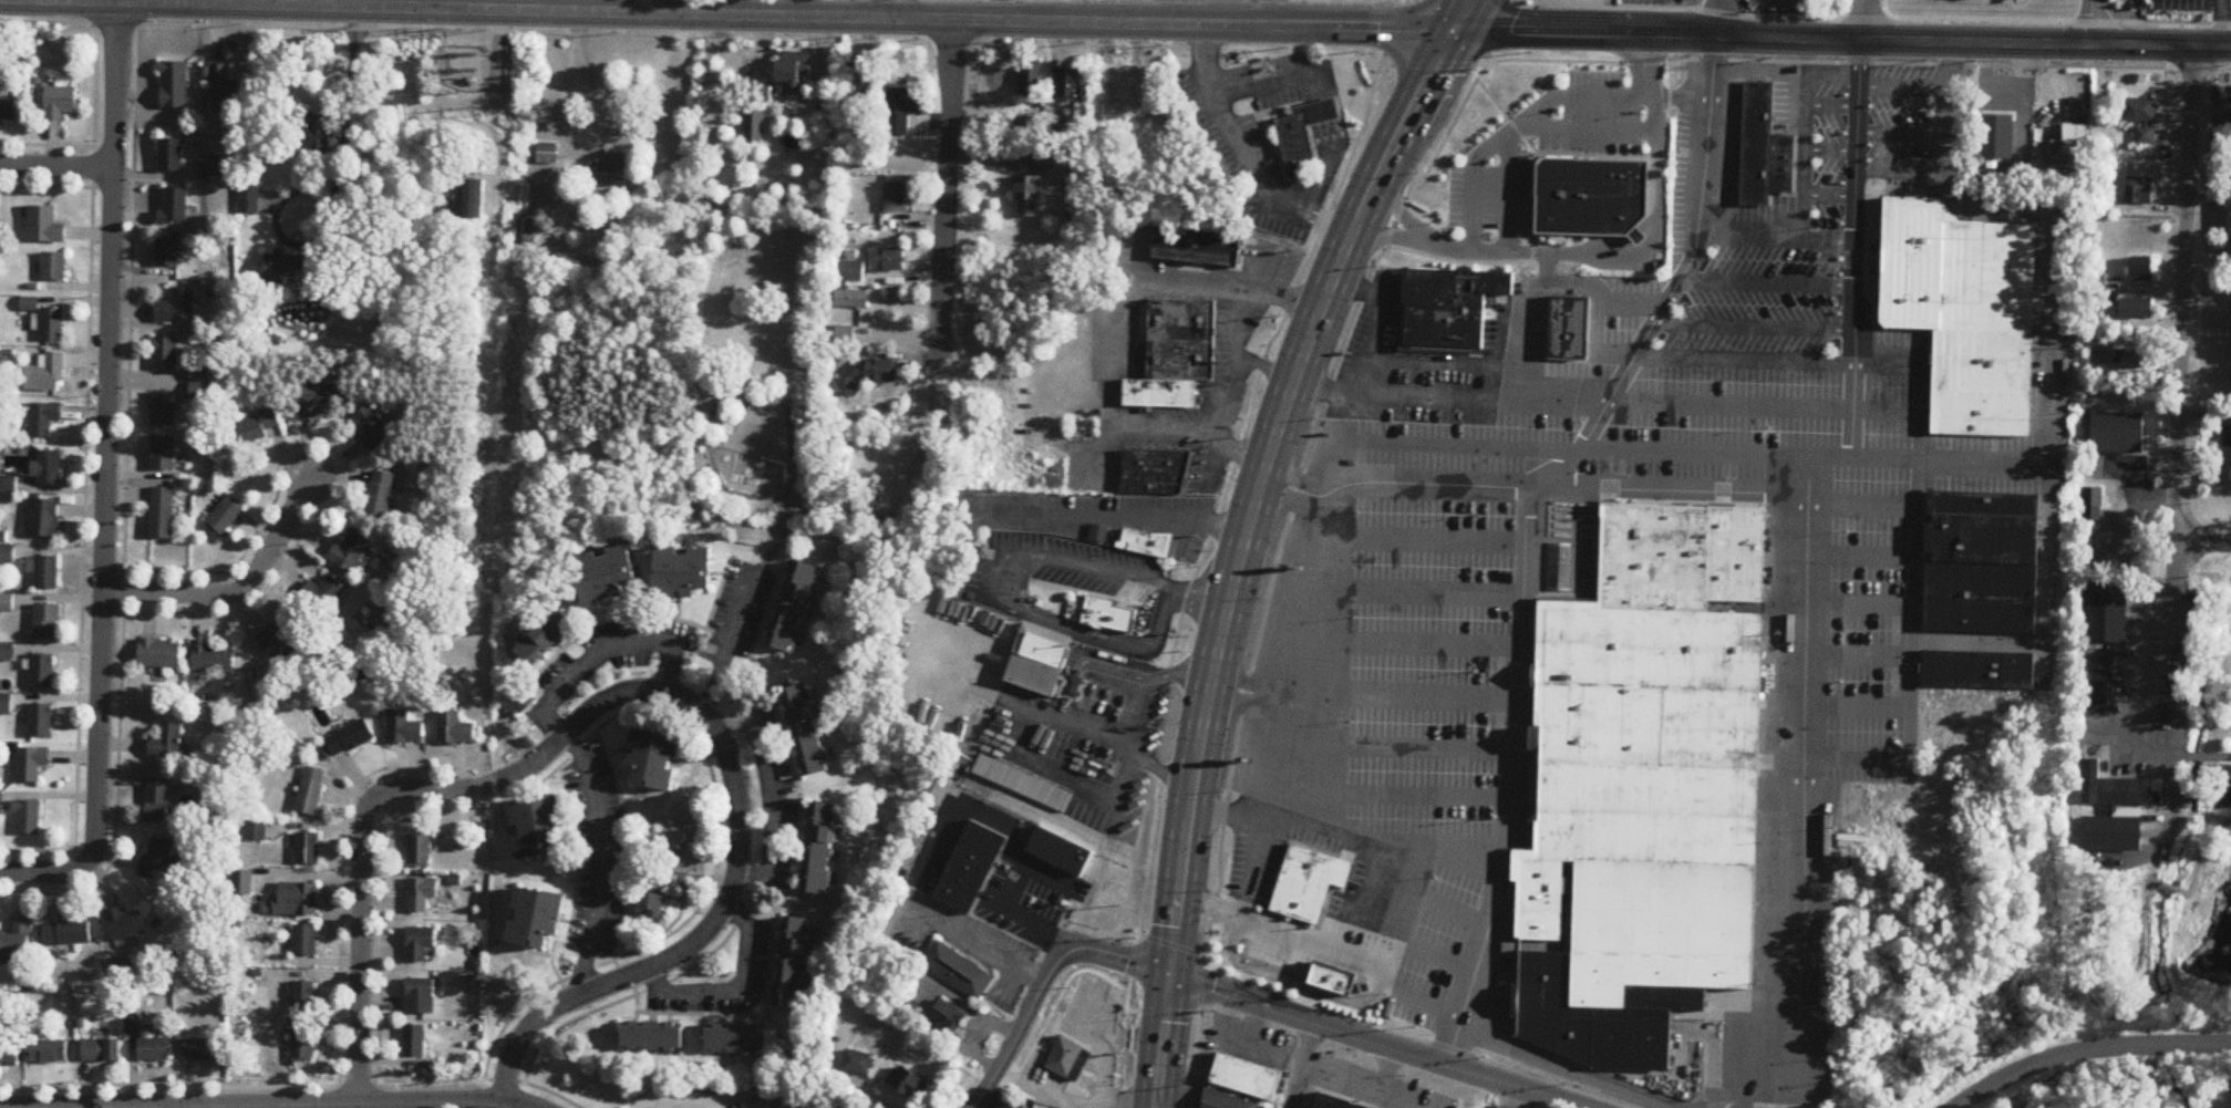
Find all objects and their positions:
road: (435, 4)
road: (891, 9)
road: (1902, 15)
road: (1716, 17)
road: (1862, 19)
road: (1115, 21)
road: (2090, 21)
road: (2221, 22)
traffic signals: (1450, 30)
road: (502, 33)
road: (1803, 60)
road: (1745, 69)
building: (794, 70)
road: (1785, 70)
power substation: (472, 71)
road: (1277, 79)
building: (858, 81)
road: (1645, 81)
building: (1032, 83)
building: (1068, 83)
road: (349, 84)
road: (1902, 84)
building: (175, 85)
building: (226, 85)
road: (1797, 97)
building: (61, 102)
road: (1831, 104)
road: (1539, 105)
building: (9, 108)
building: (906, 108)
building: (1319, 110)
building: (2139, 111)
road: (1506, 117)
building: (755, 120)
building: (1026, 128)
road: (1588, 128)
road: (1901, 133)
building: (2146, 136)
building: (319, 137)
road: (600, 138)
building: (1756, 139)
building: (1293, 141)
road: (55, 146)
road: (1830, 148)
building: (2068, 148)
road: (1243, 152)
building: (547, 155)
building: (171, 156)
building: (1780, 160)
building: (1037, 163)
road: (55, 166)
building: (213, 166)
road: (1533, 168)
building: (610, 172)
road: (1900, 173)
road: (1913, 183)
road: (55, 188)
road: (1876, 190)
road: (1505, 191)
road: (1901, 191)
building: (2139, 191)
building: (1917, 194)
road: (1917, 194)
building: (1590, 195)
road: (1829, 195)
building: (1027, 197)
building: (249, 198)
building: (895, 198)
building: (472, 199)
road: (1741, 200)
road: (941, 203)
road: (1803, 203)
building: (175, 207)
road: (1646, 219)
road: (1408, 221)
building: (44, 226)
road: (1650, 230)
building: (531, 231)
road: (1634, 232)
building: (1636, 235)
road: (1402, 237)
road: (1827, 238)
road: (1641, 239)
building: (1195, 244)
road: (1652, 244)
road: (1852, 247)
road: (1618, 248)
road: (1478, 249)
road: (1524, 250)
road: (1140, 251)
building: (167, 252)
road: (1629, 252)
road: (1865, 256)
road: (1871, 258)
building: (1879, 258)
road: (1879, 259)
building: (887, 260)
building: (54, 267)
building: (281, 267)
road: (1543, 267)
building: (1953, 268)
road: (2208, 268)
building: (2141, 269)
building: (857, 272)
building: (1458, 279)
road: (1559, 282)
road: (1765, 282)
building: (1443, 297)
building: (853, 300)
road: (1630, 302)
road: (1877, 306)
building: (176, 307)
road: (1115, 308)
building: (1180, 308)
building: (2138, 309)
road: (2181, 310)
building: (1443, 314)
road: (2053, 314)
road: (1374, 320)
building: (52, 324)
building: (1567, 325)
road: (128, 327)
road: (1753, 327)
building: (1180, 328)
road: (1273, 333)
building: (1442, 334)
building: (845, 335)
building: (1180, 348)
building: (165, 354)
road: (1566, 358)
road: (1744, 358)
road: (1557, 359)
building: (2136, 360)
road: (1446, 362)
road: (1262, 364)
building: (1178, 367)
building: (882, 372)
building: (47, 375)
road: (1543, 379)
building: (1983, 381)
building: (1931, 382)
road: (1931, 382)
building: (846, 389)
building: (204, 390)
building: (1158, 391)
road: (1228, 392)
road: (1448, 394)
building: (318, 400)
road: (86, 402)
road: (1763, 405)
building: (164, 410)
road: (742, 418)
building: (43, 420)
building: (257, 426)
building: (372, 427)
road: (106, 434)
building: (2119, 434)
building: (2228, 436)
road: (1930, 447)
road: (1242, 451)
building: (163, 454)
road: (1812, 454)
road: (1302, 456)
building: (1154, 460)
road: (343, 465)
building: (49, 469)
road: (1262, 469)
road: (1291, 477)
road: (1436, 477)
building: (1150, 481)
building: (382, 496)
road: (1285, 497)
road: (1330, 500)
road: (1870, 505)
building: (2093, 505)
building: (871, 508)
building: (162, 514)
building: (224, 516)
road: (1102, 516)
road: (1346, 518)
building: (43, 519)
road: (1524, 521)
building: (1098, 531)
road: (1435, 538)
road: (782, 540)
building: (1145, 541)
road: (2227, 546)
building: (353, 550)
road: (1868, 556)
building: (1981, 561)
road: (1913, 571)
building: (683, 572)
building: (48, 573)
building: (608, 576)
road: (235, 588)
road: (1433, 589)
road: (1197, 591)
building: (324, 594)
road: (719, 594)
road: (991, 600)
road: (1031, 603)
road: (1867, 604)
building: (794, 608)
building: (1103, 611)
building: (2107, 612)
road: (622, 619)
building: (47, 622)
building: (546, 638)
building: (281, 639)
road: (1977, 641)
road: (729, 642)
road: (1432, 642)
road: (601, 652)
building: (159, 654)
road: (1866, 654)
building: (211, 657)
building: (1037, 657)
building: (1977, 667)
road: (1116, 670)
building: (42, 671)
road: (2158, 677)
building: (2098, 679)
road: (1239, 680)
road: (1430, 695)
building: (521, 698)
building: (1098, 698)
road: (1235, 700)
road: (1302, 703)
building: (6, 704)
road: (1865, 705)
road: (1138, 711)
road: (1051, 716)
building: (41, 721)
building: (404, 728)
building: (455, 729)
building: (806, 729)
building: (350, 738)
building: (168, 743)
road: (1429, 746)
parking lot: (779, 757)
road: (2194, 757)
building: (655, 759)
building: (32, 765)
road: (1159, 769)
road: (1063, 775)
building: (1022, 781)
building: (1643, 787)
road: (474, 788)
building: (2118, 789)
building: (311, 793)
road: (503, 793)
road: (774, 794)
road: (1427, 795)
building: (158, 801)
building: (2, 802)
road: (427, 810)
road: (1228, 815)
building: (29, 819)
building: (538, 829)
building: (2111, 835)
road: (1015, 838)
road: (1442, 843)
road: (1384, 847)
building: (307, 849)
building: (1058, 849)
building: (822, 850)
building: (419, 851)
parking lot: (596, 852)
road: (47, 853)
road: (716, 856)
building: (159, 860)
road: (601, 862)
road: (342, 863)
building: (970, 864)
road: (43, 872)
building: (1306, 881)
road: (733, 882)
building: (241, 884)
building: (653, 893)
road: (789, 893)
building: (424, 894)
road: (1210, 899)
building: (297, 900)
road: (1449, 908)
road: (1408, 913)
road: (1207, 917)
building: (536, 920)
building: (127, 925)
building: (68, 933)
road: (1812, 935)
road: (381, 936)
building: (17, 941)
building: (304, 942)
building: (420, 944)
road: (978, 945)
road: (360, 950)
road: (1436, 954)
building: (793, 963)
building: (957, 969)
traffic signals: (1168, 973)
building: (1331, 977)
road: (1287, 981)
road: (1044, 983)
road: (631, 986)
road: (1397, 987)
road: (737, 995)
building: (421, 997)
building: (304, 998)
road: (1127, 1005)
building: (1082, 1016)
building: (950, 1017)
building: (654, 1037)
building: (738, 1039)
road: (1161, 1040)
building: (413, 1042)
road: (1374, 1042)
road: (1305, 1046)
building: (302, 1047)
building: (204, 1050)
building: (9, 1052)
building: (102, 1052)
building: (155, 1052)
building: (49, 1053)
road: (2090, 1053)
building: (1066, 1057)
road: (1120, 1057)
building: (860, 1064)
building: (1248, 1077)
road: (291, 1083)
building: (909, 1084)
road: (1343, 1084)
road: (1744, 1089)
road: (1075, 1095)
building: (1225, 1100)
road: (1399, 1100)
building: (1333, 1104)
road: (311, 1105)

